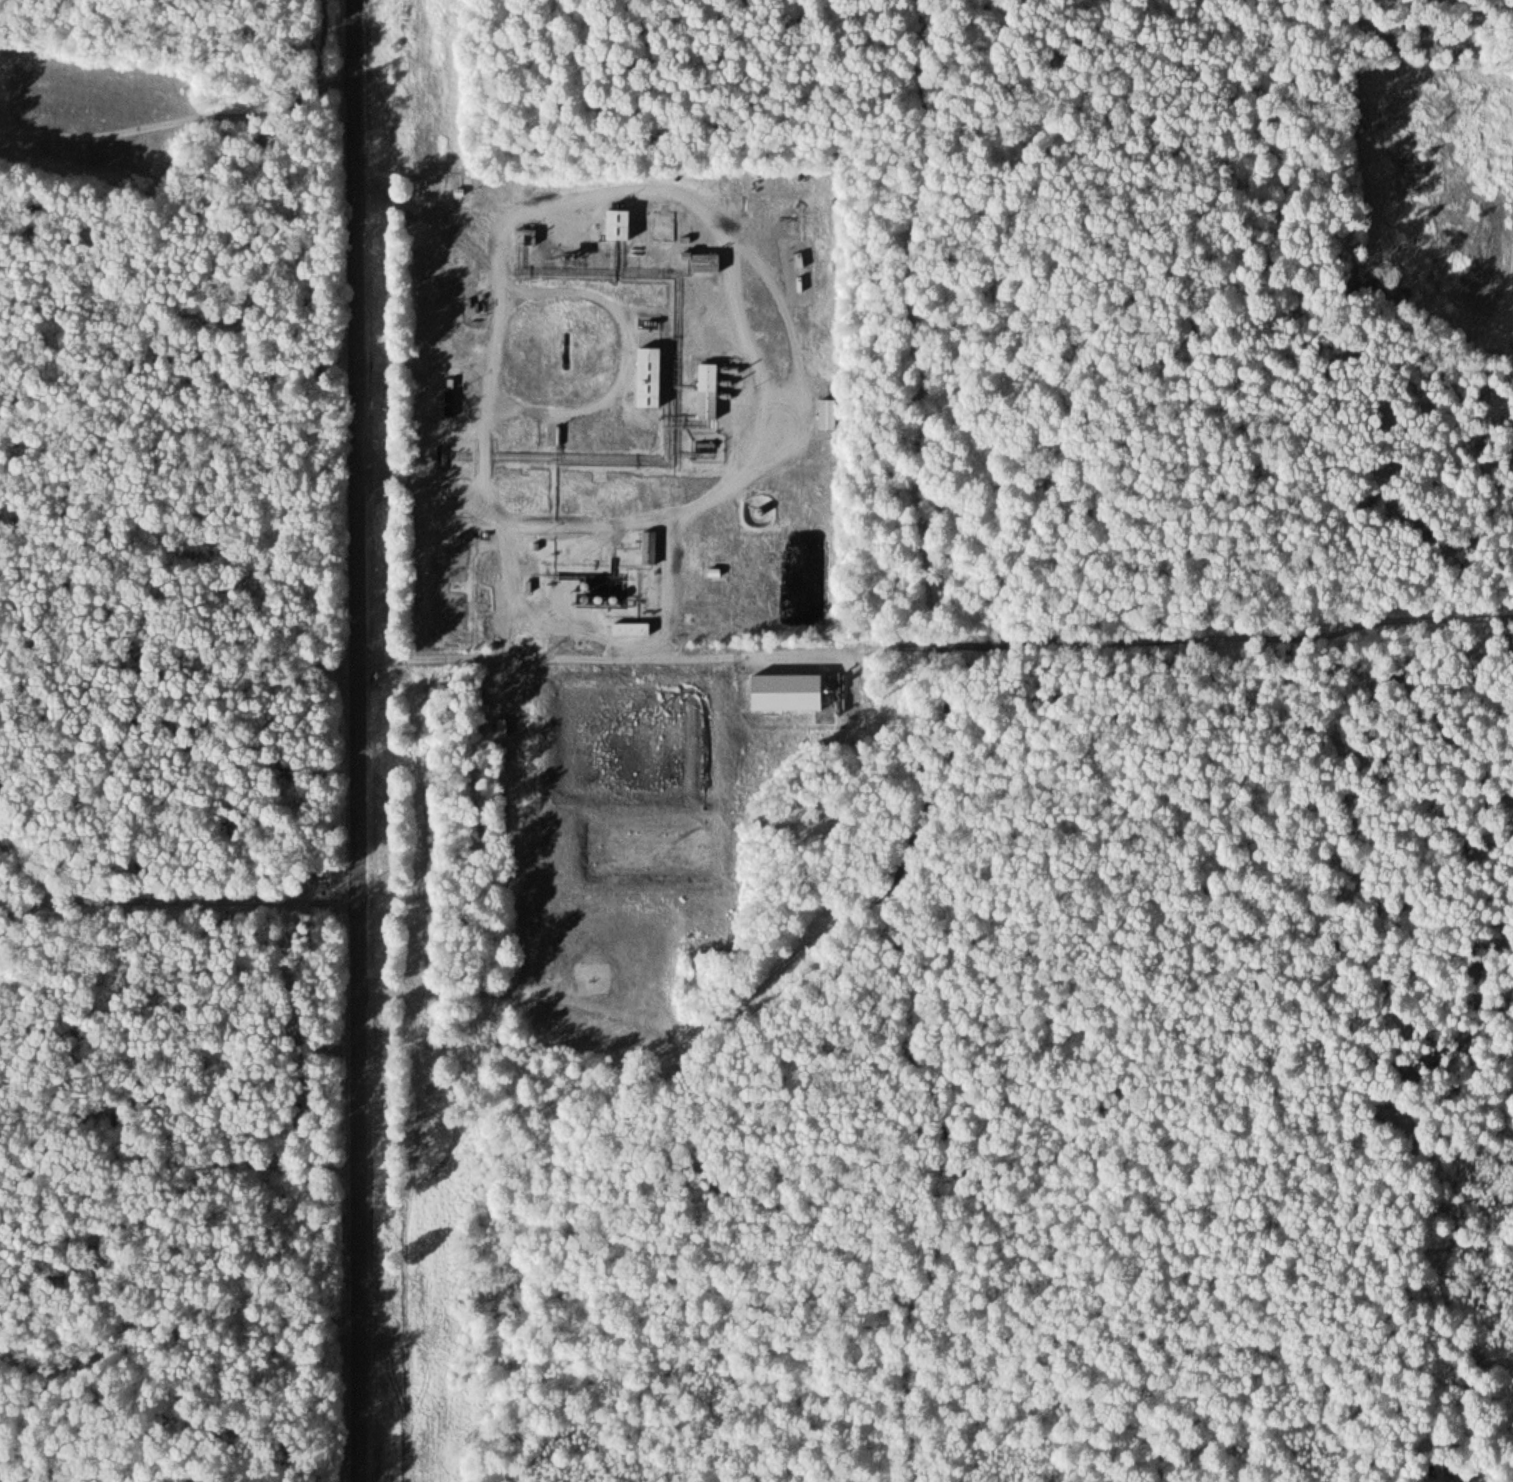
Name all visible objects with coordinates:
road: (180, 123)
building: (614, 222)
building: (646, 375)
building: (706, 388)
building: (826, 412)
building: (648, 545)
building: (630, 627)
building: (785, 689)
road: (358, 741)
road: (179, 903)

